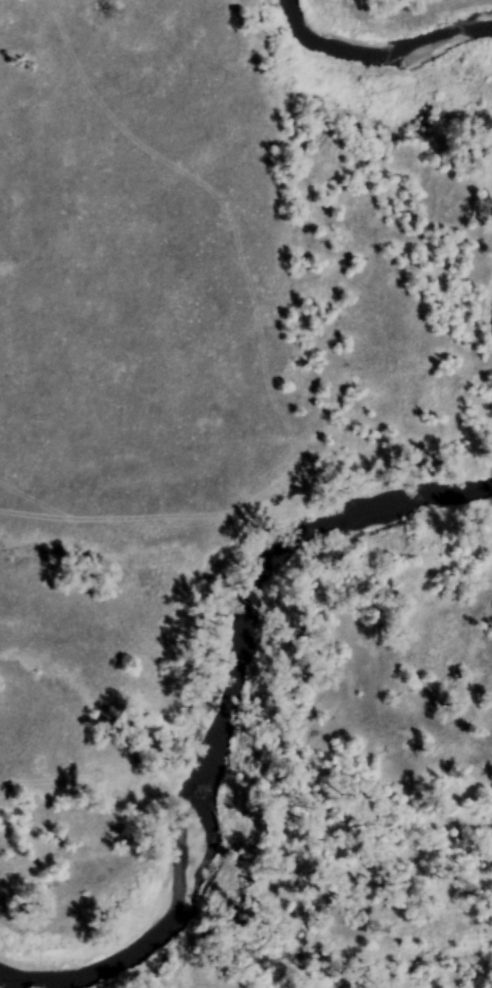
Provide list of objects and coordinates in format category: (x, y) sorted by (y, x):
river: (379, 50)
river: (228, 705)

